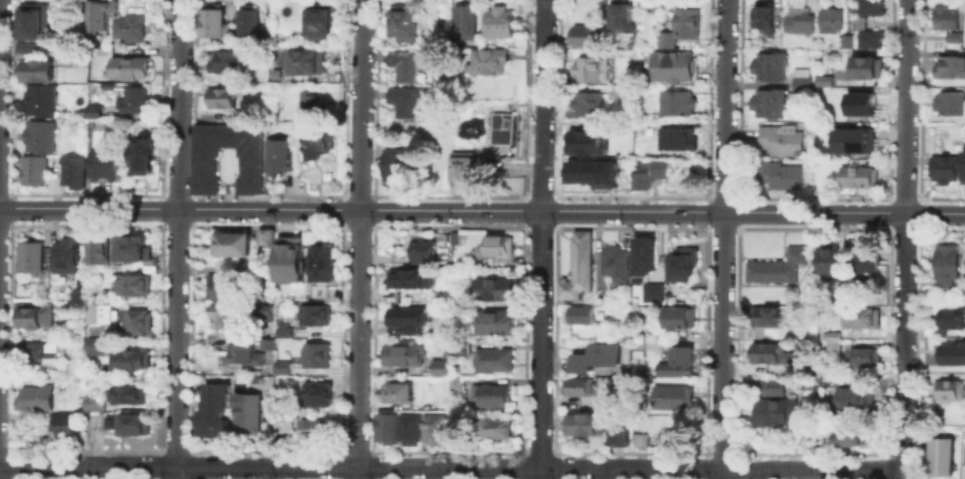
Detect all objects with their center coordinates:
building: (869, 6)
building: (618, 13)
building: (763, 13)
building: (96, 15)
building: (942, 16)
building: (318, 17)
building: (403, 18)
building: (32, 19)
building: (462, 19)
building: (685, 19)
building: (828, 19)
building: (246, 20)
building: (497, 20)
building: (857, 20)
building: (210, 22)
building: (798, 22)
building: (128, 26)
building: (582, 35)
building: (951, 36)
building: (264, 37)
building: (869, 37)
building: (663, 38)
building: (844, 41)
building: (21, 46)
building: (254, 53)
building: (230, 60)
building: (487, 60)
building: (306, 61)
building: (401, 62)
building: (672, 65)
building: (948, 65)
building: (128, 66)
building: (767, 66)
building: (865, 66)
building: (585, 67)
building: (35, 68)
building: (799, 72)
building: (275, 73)
building: (822, 80)
building: (799, 84)
building: (221, 96)
building: (308, 98)
building: (38, 99)
building: (131, 99)
building: (861, 99)
building: (403, 100)
building: (673, 101)
building: (767, 101)
building: (583, 102)
building: (948, 102)
road: (0, 103)
road: (541, 105)
road: (905, 105)
building: (92, 109)
building: (636, 127)
building: (37, 134)
building: (674, 137)
building: (778, 139)
building: (851, 139)
building: (584, 141)
building: (317, 142)
building: (283, 152)
building: (138, 154)
building: (252, 160)
building: (396, 163)
building: (102, 164)
building: (964, 164)
building: (460, 165)
building: (31, 168)
building: (942, 168)
building: (591, 171)
building: (646, 171)
building: (70, 172)
building: (779, 174)
building: (854, 175)
road: (269, 208)
road: (722, 211)
road: (934, 212)
road: (176, 232)
road: (358, 233)
road: (721, 233)
building: (264, 235)
building: (453, 236)
building: (230, 243)
building: (498, 244)
building: (130, 246)
building: (97, 248)
building: (421, 248)
building: (67, 253)
building: (642, 254)
building: (288, 255)
building: (29, 257)
building: (827, 259)
building: (613, 261)
building: (864, 261)
building: (321, 263)
building: (682, 265)
building: (776, 265)
building: (946, 265)
building: (577, 266)
building: (406, 276)
building: (843, 280)
building: (133, 283)
building: (224, 285)
building: (492, 287)
building: (317, 290)
building: (650, 290)
building: (461, 306)
building: (97, 309)
building: (33, 313)
building: (314, 313)
building: (222, 314)
building: (576, 314)
building: (768, 314)
building: (676, 315)
building: (404, 316)
building: (861, 316)
building: (950, 316)
building: (493, 320)
building: (137, 321)
building: (283, 331)
road: (539, 338)
building: (830, 339)
road: (903, 340)
building: (266, 343)
building: (634, 343)
building: (96, 344)
building: (457, 346)
building: (37, 349)
building: (765, 350)
building: (315, 352)
building: (951, 352)
building: (244, 353)
building: (401, 353)
building: (596, 354)
building: (786, 354)
building: (860, 355)
building: (130, 357)
building: (492, 359)
building: (676, 362)
building: (281, 365)
building: (437, 366)
building: (452, 367)
building: (455, 382)
building: (576, 385)
building: (769, 385)
building: (950, 388)
building: (397, 391)
building: (127, 392)
building: (318, 392)
building: (491, 394)
building: (671, 395)
building: (848, 395)
building: (36, 396)
building: (90, 401)
building: (211, 407)
building: (774, 410)
building: (248, 412)
building: (284, 417)
building: (91, 419)
building: (127, 422)
building: (582, 422)
building: (387, 425)
building: (410, 425)
building: (433, 425)
building: (62, 426)
building: (495, 426)
building: (314, 427)
building: (618, 431)
building: (851, 431)
building: (668, 437)
building: (640, 439)
building: (963, 453)
building: (940, 455)
road: (87, 465)
road: (357, 466)
road: (720, 467)
road: (174, 472)
road: (355, 472)
road: (538, 473)
road: (605, 473)
road: (720, 473)
road: (902, 473)

